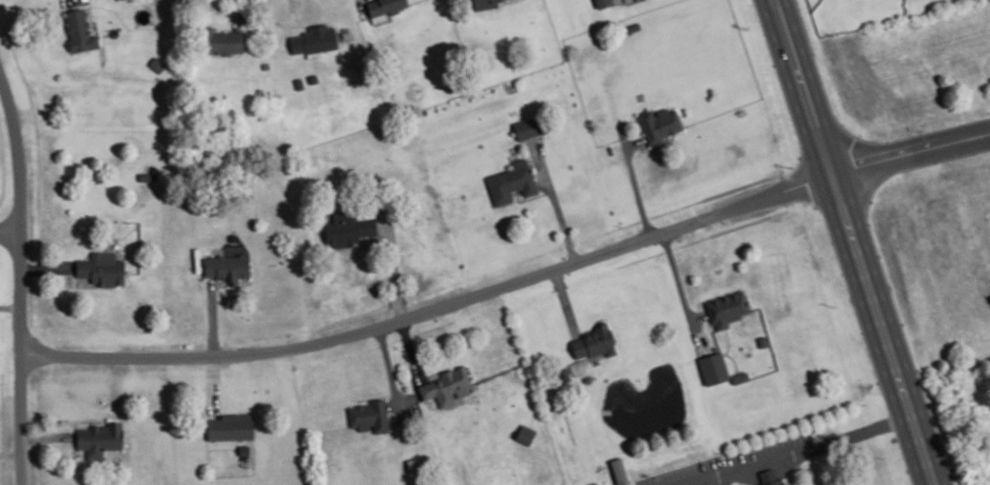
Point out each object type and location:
building: (602, 3)
building: (485, 4)
building: (384, 8)
building: (79, 31)
building: (314, 39)
building: (224, 41)
building: (657, 123)
building: (527, 128)
road: (633, 142)
road: (656, 145)
road: (911, 153)
building: (512, 182)
road: (635, 184)
road: (554, 199)
building: (348, 229)
road: (11, 232)
road: (854, 242)
road: (394, 262)
building: (227, 267)
building: (103, 268)
road: (21, 275)
road: (683, 292)
road: (565, 300)
road: (10, 305)
building: (725, 307)
road: (435, 308)
road: (212, 316)
building: (762, 340)
building: (593, 343)
road: (410, 348)
road: (388, 362)
building: (712, 367)
building: (739, 376)
road: (214, 385)
building: (446, 387)
building: (370, 416)
building: (231, 427)
road: (47, 435)
building: (101, 436)
road: (798, 450)
road: (10, 453)
building: (619, 470)
building: (768, 477)
building: (593, 483)

